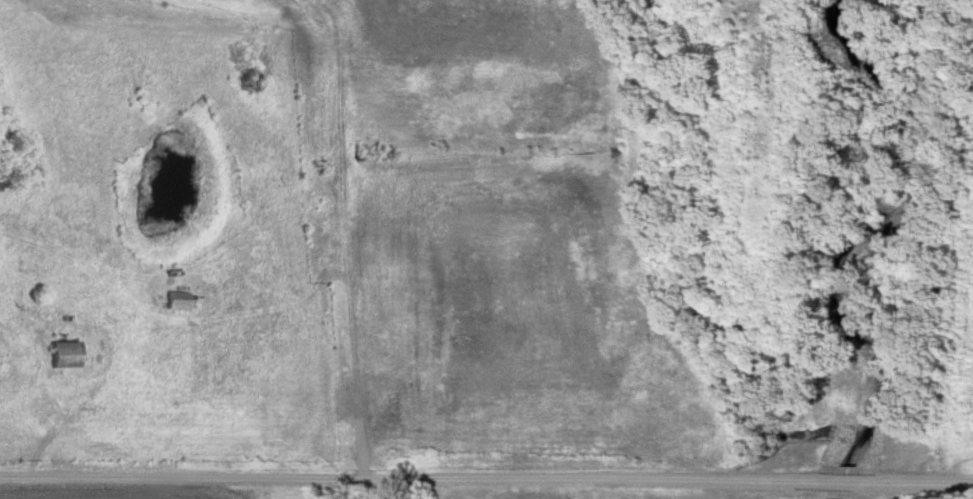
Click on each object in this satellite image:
building: (179, 301)
building: (66, 355)
road: (403, 481)
road: (924, 482)
road: (842, 483)

